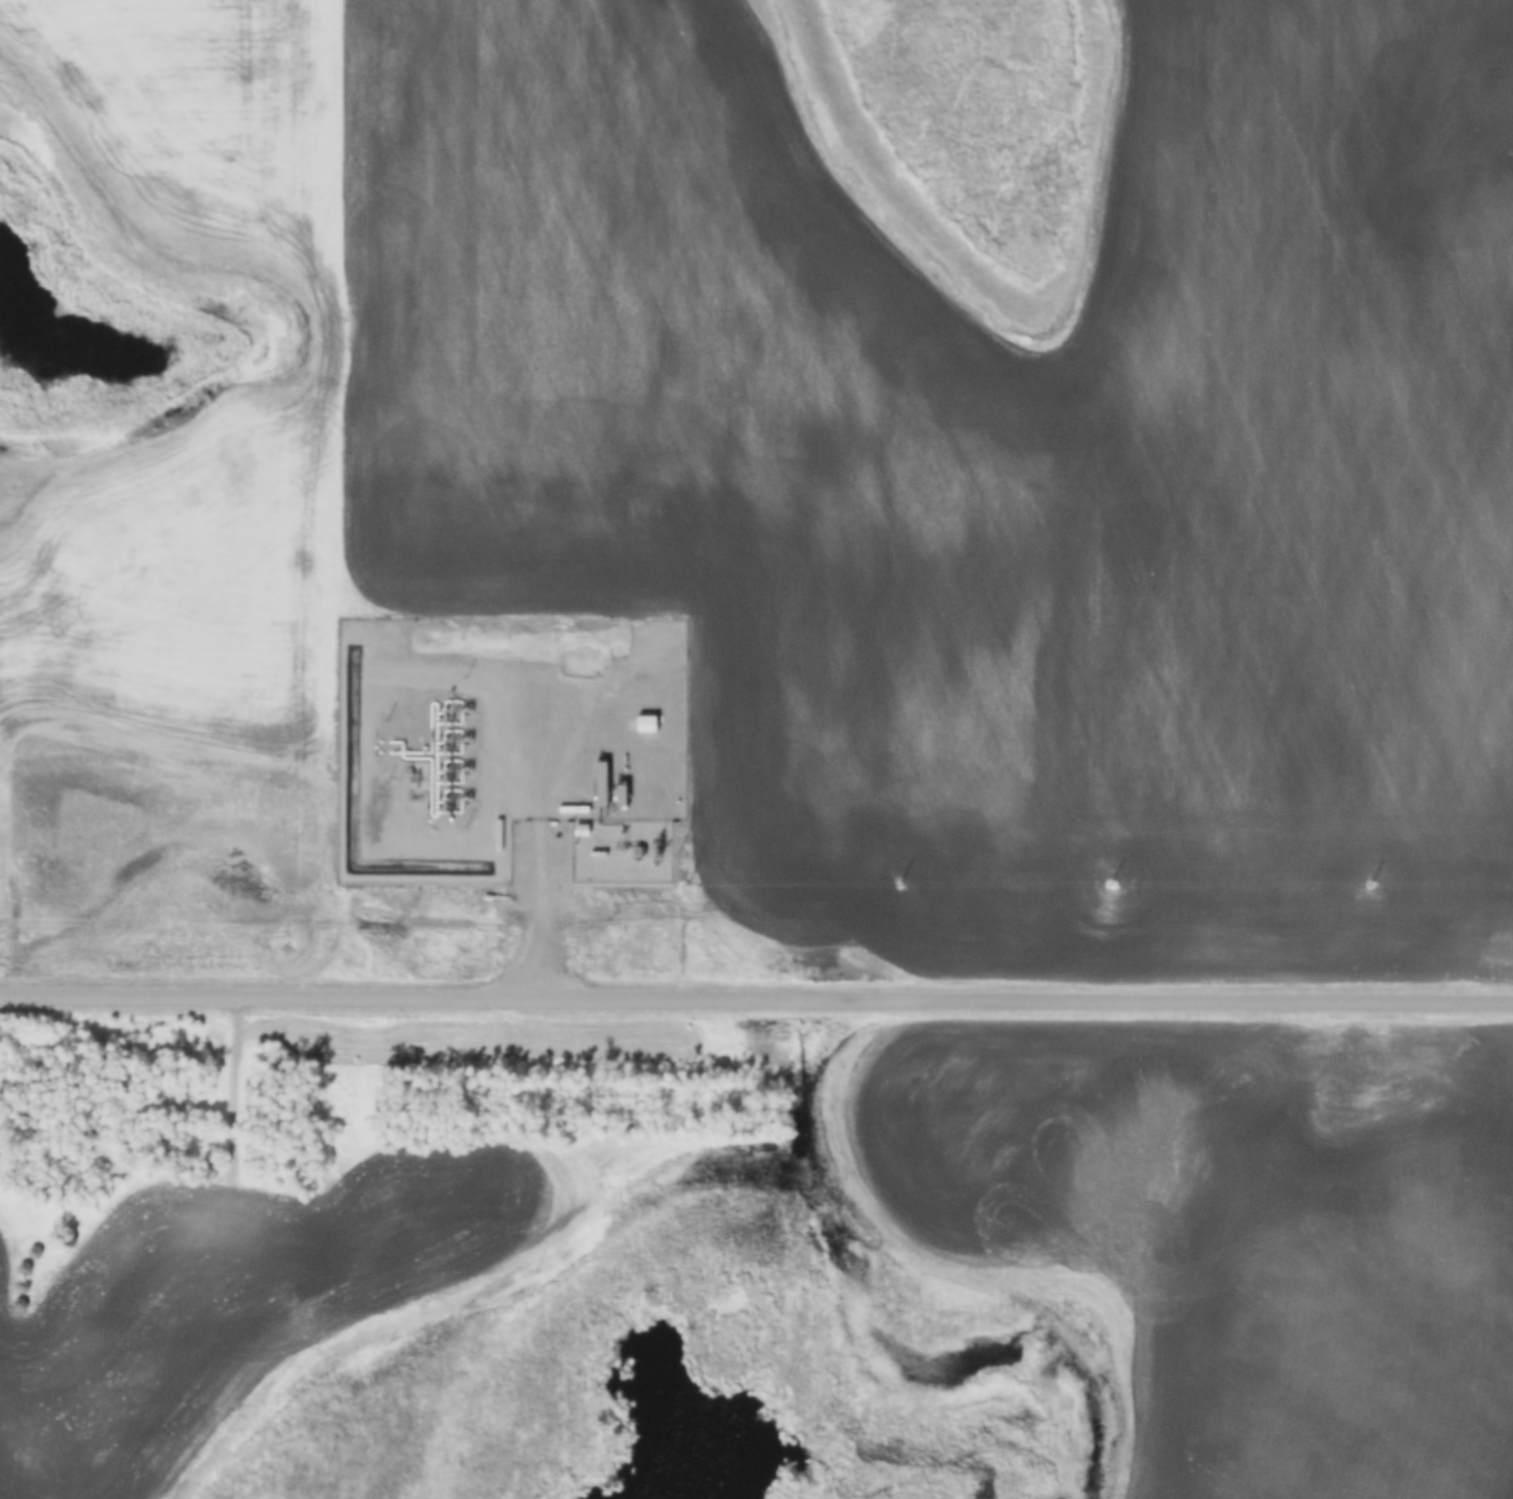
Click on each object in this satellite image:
street lamp: (464, 679)
street lamp: (386, 721)
building: (645, 725)
street lamp: (386, 784)
building: (599, 786)
building: (619, 797)
street lamp: (572, 819)
street lamp: (465, 828)
building: (580, 831)
power substation: (621, 855)
road: (538, 938)
road: (756, 1002)
road: (237, 1144)
building: (38, 1251)
silo: (38, 1251)
building: (27, 1267)
silo: (27, 1267)
building: (25, 1284)
silo: (25, 1284)
building: (23, 1303)
silo: (23, 1303)

